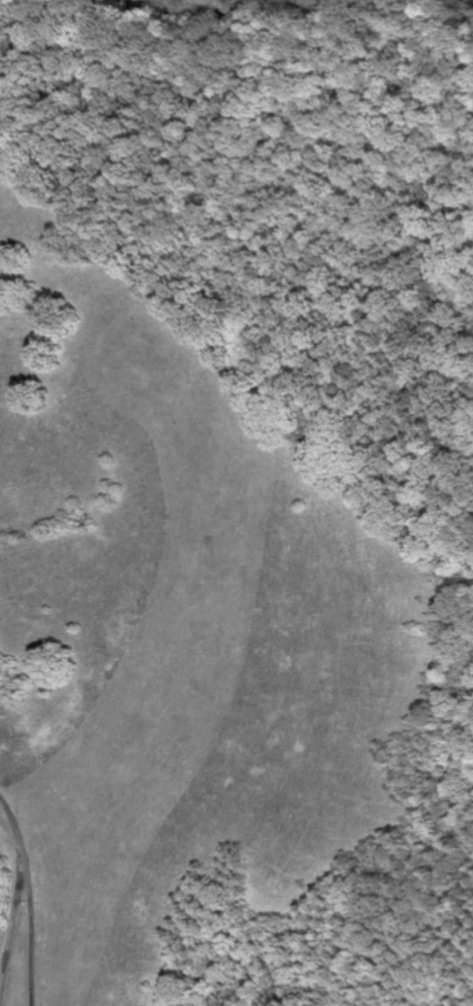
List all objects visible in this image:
road: (37, 895)
road: (17, 930)

